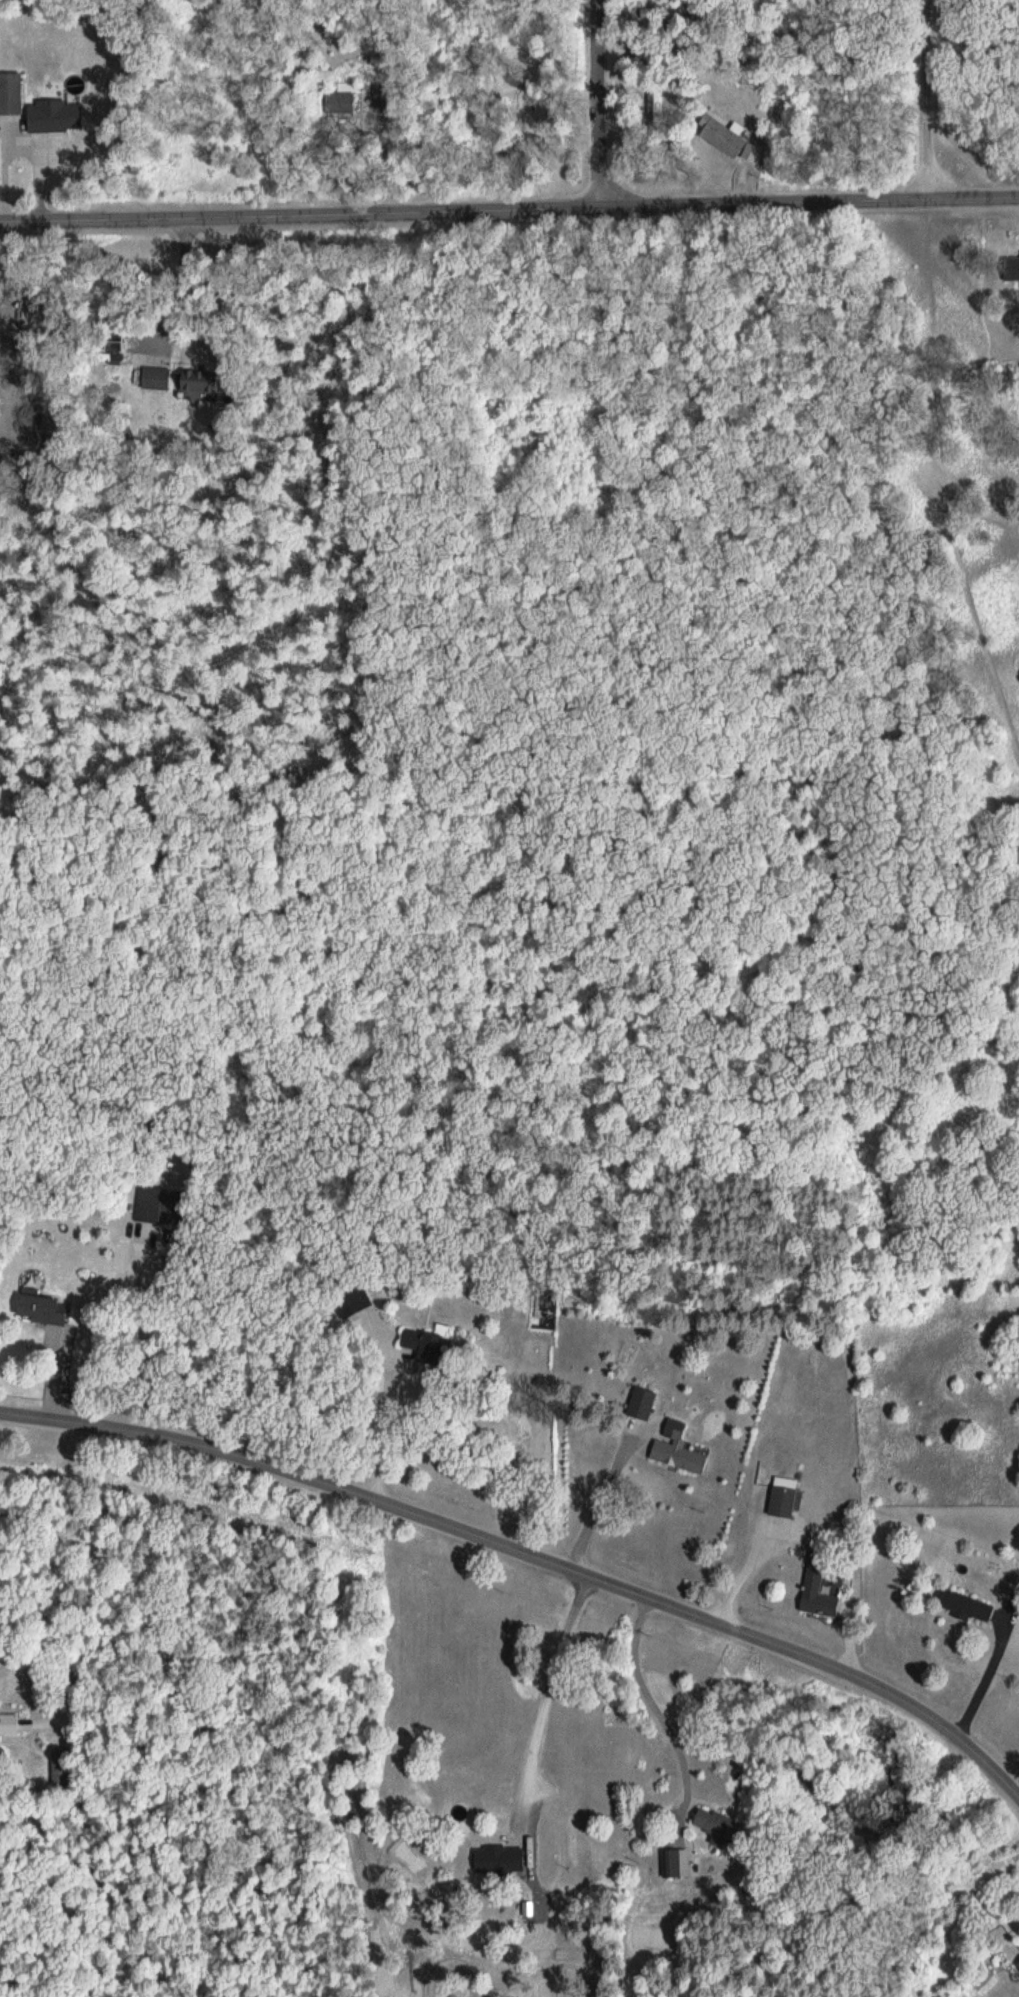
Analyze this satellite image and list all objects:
building: (12, 93)
road: (930, 100)
building: (343, 102)
road: (601, 104)
building: (658, 106)
building: (58, 118)
building: (731, 138)
road: (975, 199)
road: (466, 210)
building: (1013, 268)
park: (938, 908)
building: (354, 1299)
building: (41, 1304)
building: (426, 1342)
building: (644, 1404)
building: (681, 1449)
building: (788, 1502)
road: (531, 1553)
road: (98, 1577)
building: (821, 1588)
building: (968, 1605)
building: (10, 1724)
building: (720, 1824)
building: (503, 1858)
building: (684, 1863)

